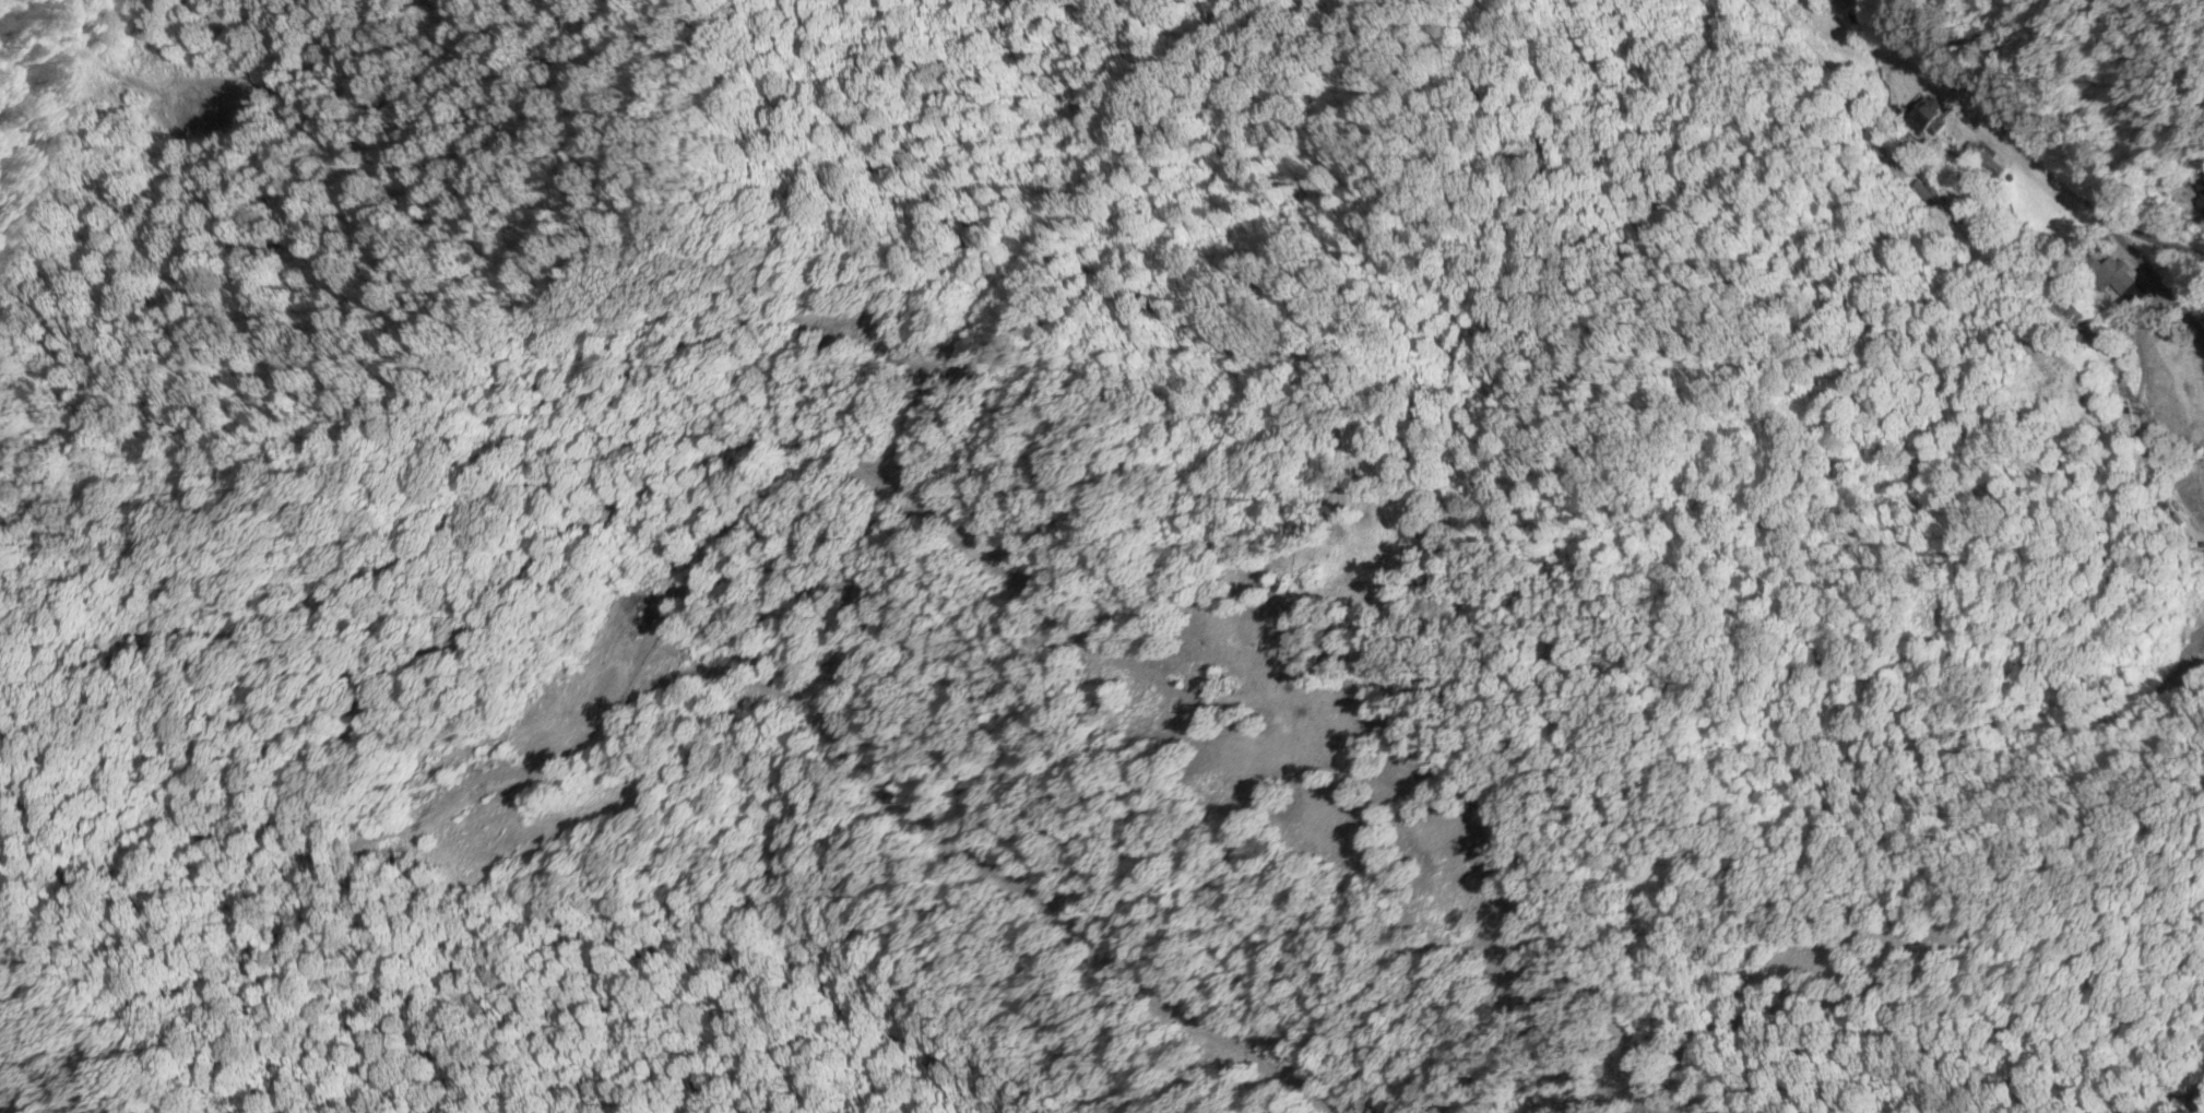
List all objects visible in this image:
road: (2030, 156)
building: (1986, 161)
building: (2194, 182)
building: (2203, 189)
building: (1939, 211)
building: (2121, 286)

